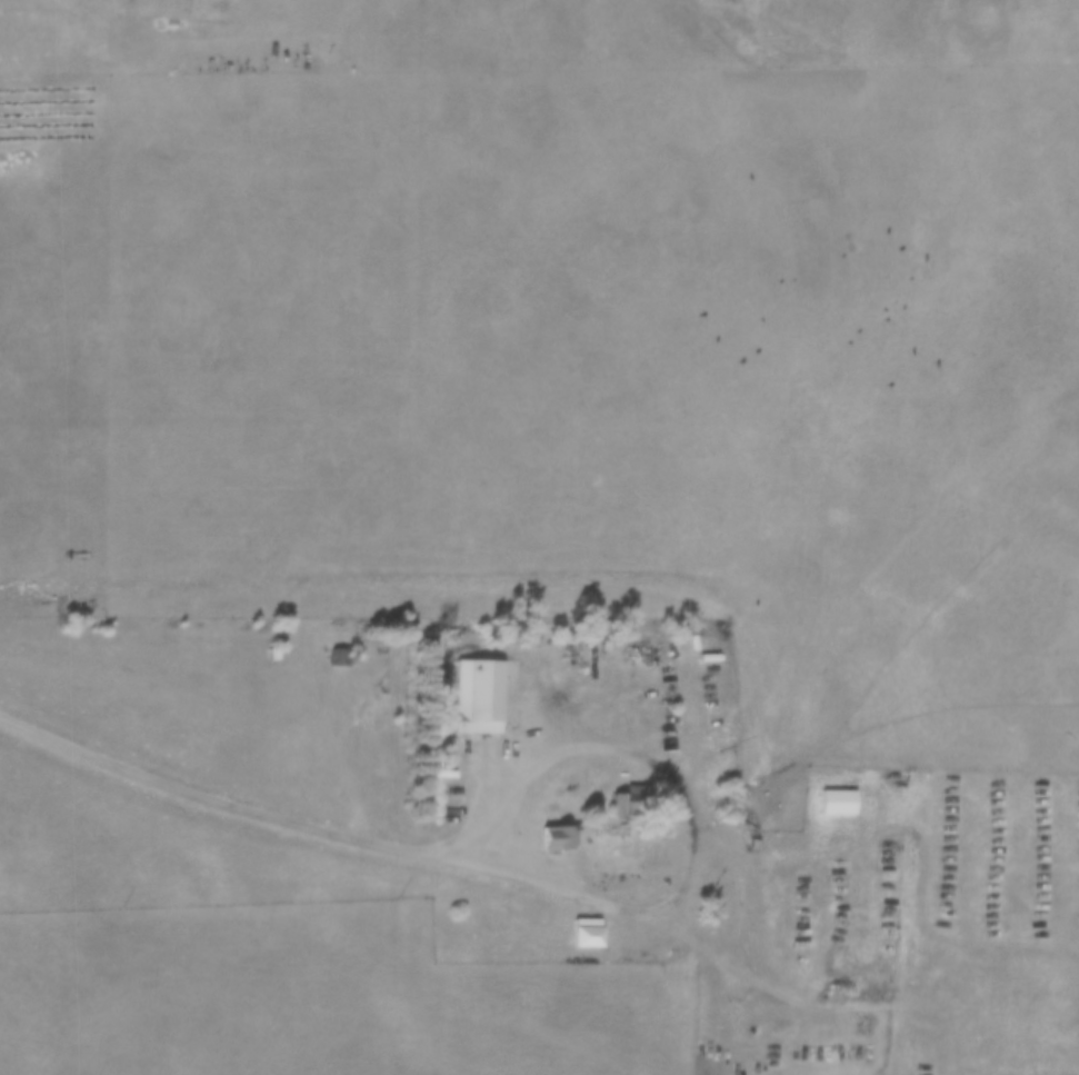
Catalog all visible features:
building: (339, 656)
building: (479, 696)
road: (200, 790)
building: (637, 792)
building: (618, 802)
building: (838, 802)
road: (690, 818)
building: (556, 836)
building: (755, 843)
building: (587, 933)

